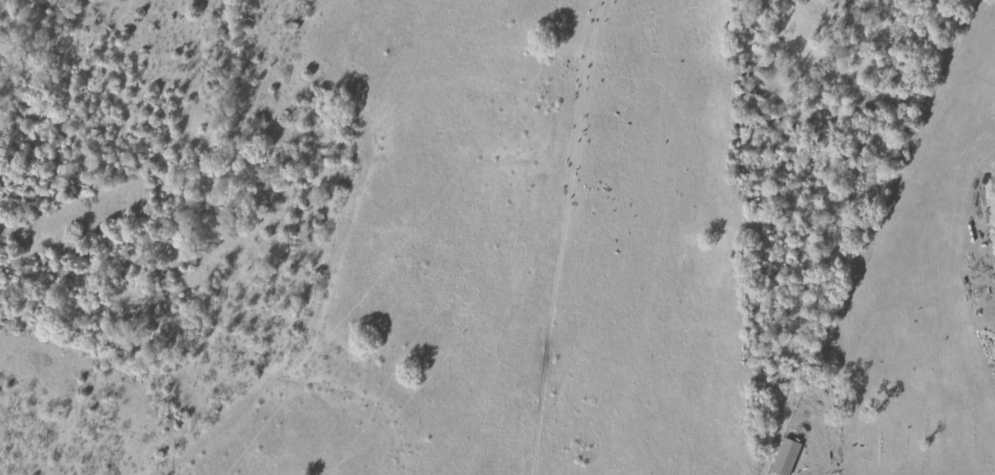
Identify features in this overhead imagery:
road: (527, 238)
building: (784, 456)

